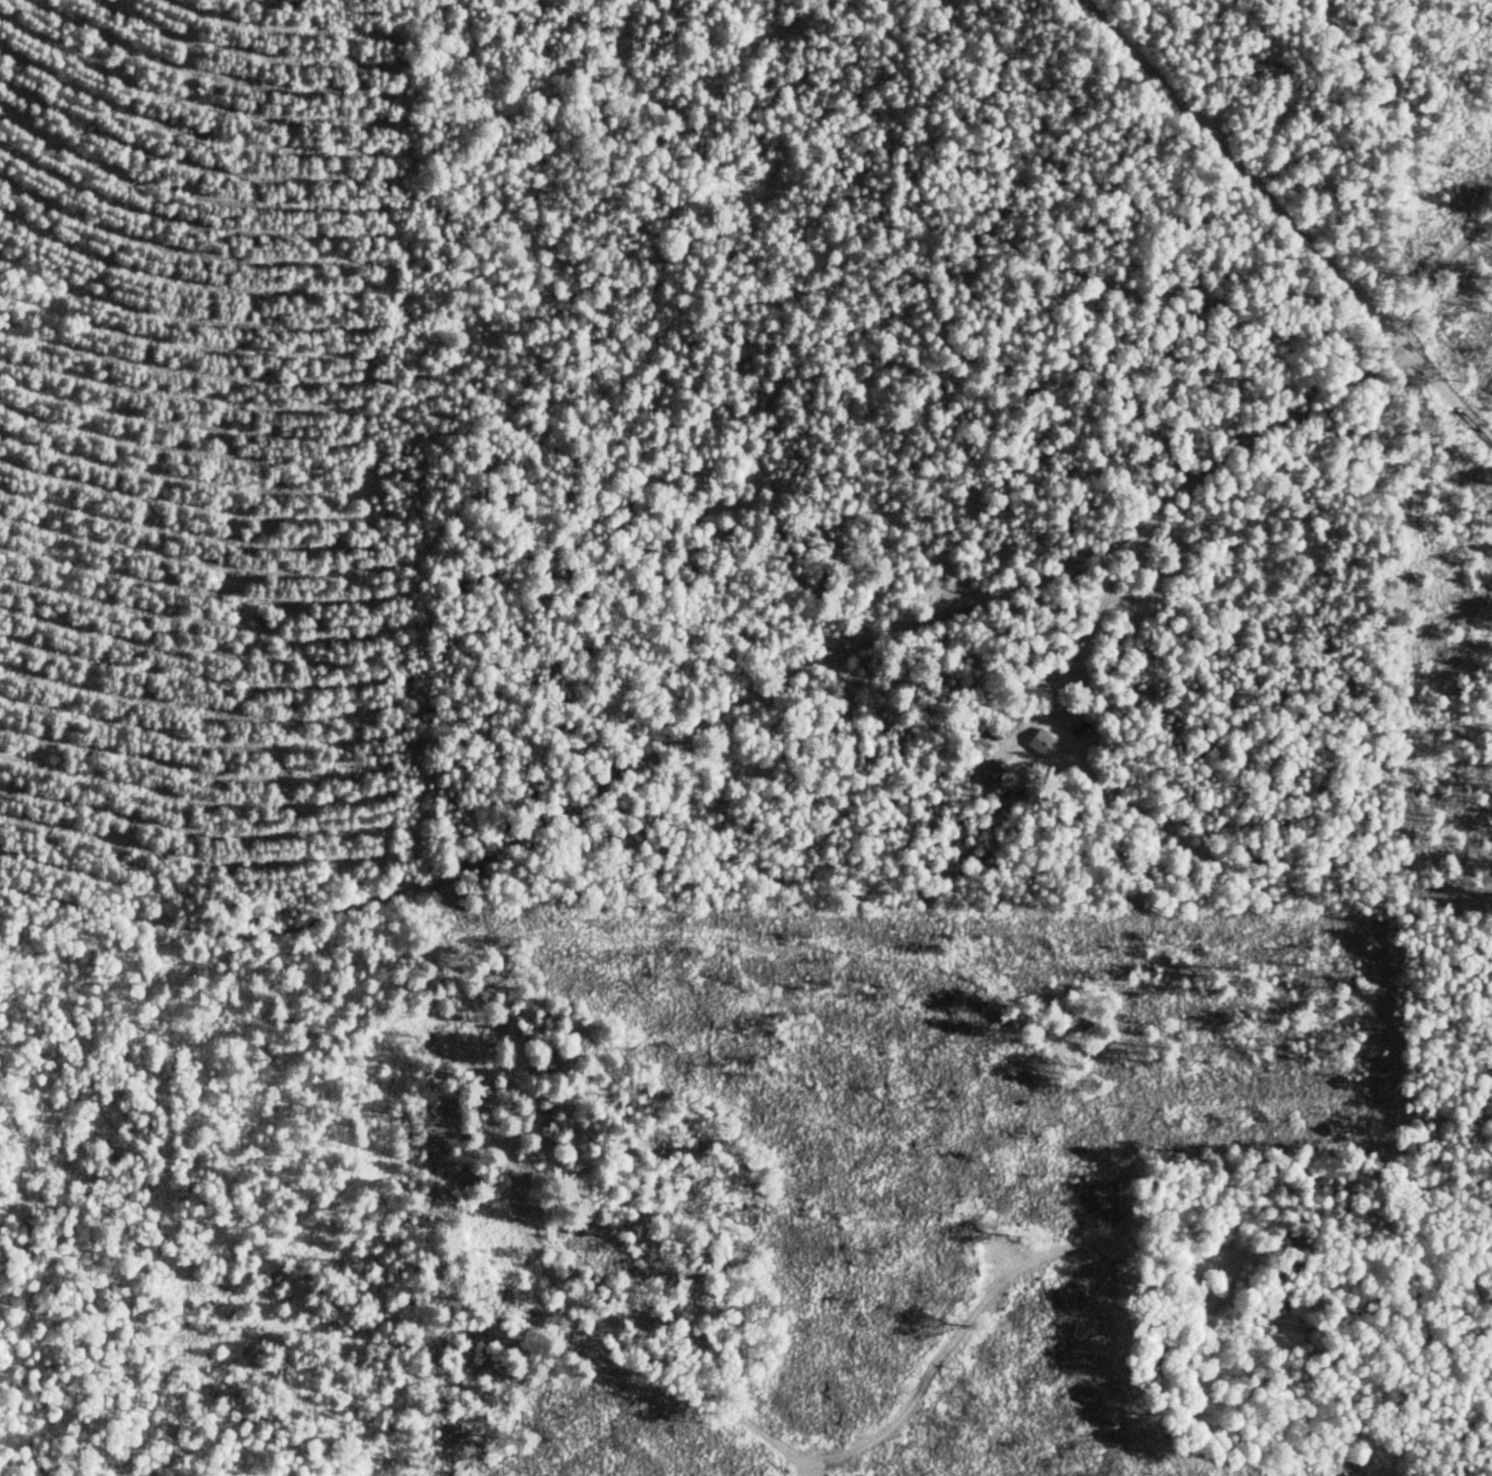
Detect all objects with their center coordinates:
road: (1288, 221)
road: (717, 695)
building: (1043, 744)
building: (990, 774)
building: (1007, 796)
road: (504, 1089)
building: (546, 1131)

